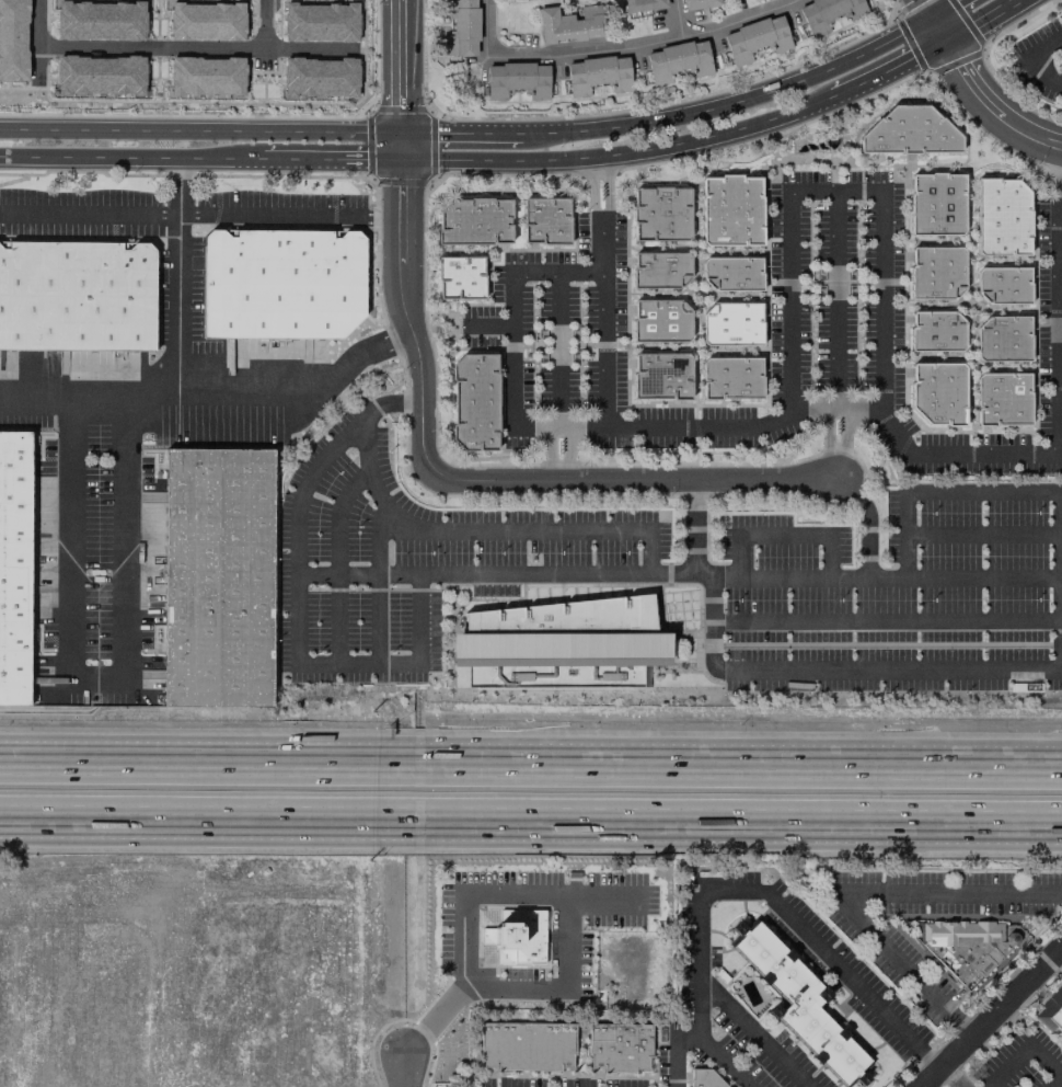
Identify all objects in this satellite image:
building: (699, 3)
building: (643, 4)
road: (943, 8)
building: (828, 13)
road: (680, 19)
building: (100, 20)
building: (206, 21)
road: (982, 21)
building: (320, 22)
road: (38, 23)
building: (569, 24)
building: (461, 28)
road: (488, 28)
building: (755, 39)
building: (13, 41)
road: (646, 45)
road: (150, 47)
road: (281, 49)
road: (1029, 59)
building: (678, 61)
road: (890, 71)
building: (100, 75)
building: (206, 77)
building: (319, 77)
building: (598, 77)
building: (517, 80)
road: (977, 89)
road: (734, 100)
road: (200, 130)
building: (910, 133)
road: (462, 134)
road: (621, 155)
road: (131, 157)
road: (333, 159)
road: (1060, 176)
road: (839, 192)
building: (936, 204)
building: (731, 209)
road: (200, 213)
building: (661, 215)
building: (1002, 218)
building: (474, 221)
building: (545, 221)
road: (402, 240)
building: (659, 270)
building: (936, 272)
building: (731, 273)
building: (461, 278)
building: (281, 284)
building: (1003, 286)
building: (77, 295)
road: (836, 302)
road: (510, 304)
building: (660, 320)
building: (731, 323)
road: (487, 329)
building: (936, 331)
building: (1003, 339)
road: (195, 374)
road: (556, 376)
building: (661, 376)
building: (731, 377)
building: (938, 392)
road: (93, 399)
building: (1003, 399)
building: (474, 403)
road: (402, 404)
road: (815, 412)
road: (862, 413)
road: (555, 427)
road: (836, 446)
road: (305, 477)
road: (371, 479)
road: (636, 481)
road: (981, 490)
road: (340, 517)
road: (868, 523)
road: (627, 526)
road: (693, 530)
road: (784, 534)
road: (982, 534)
building: (13, 568)
building: (218, 577)
road: (338, 577)
road: (680, 579)
road: (771, 581)
road: (887, 618)
road: (338, 620)
road: (379, 620)
road: (714, 625)
road: (298, 640)
road: (420, 640)
building: (562, 644)
road: (1047, 663)
road: (100, 680)
road: (184, 768)
road: (399, 769)
road: (746, 771)
road: (184, 816)
road: (399, 817)
road: (746, 821)
road: (854, 892)
road: (472, 902)
road: (789, 917)
building: (967, 947)
road: (567, 991)
building: (799, 1003)
building: (1050, 1011)
road: (993, 1017)
road: (963, 1030)
road: (753, 1032)
road: (702, 1040)
building: (527, 1045)
building: (620, 1045)
road: (1024, 1049)
road: (673, 1051)
road: (932, 1061)
road: (409, 1071)
road: (958, 1076)
building: (704, 1078)
road: (1054, 1082)

